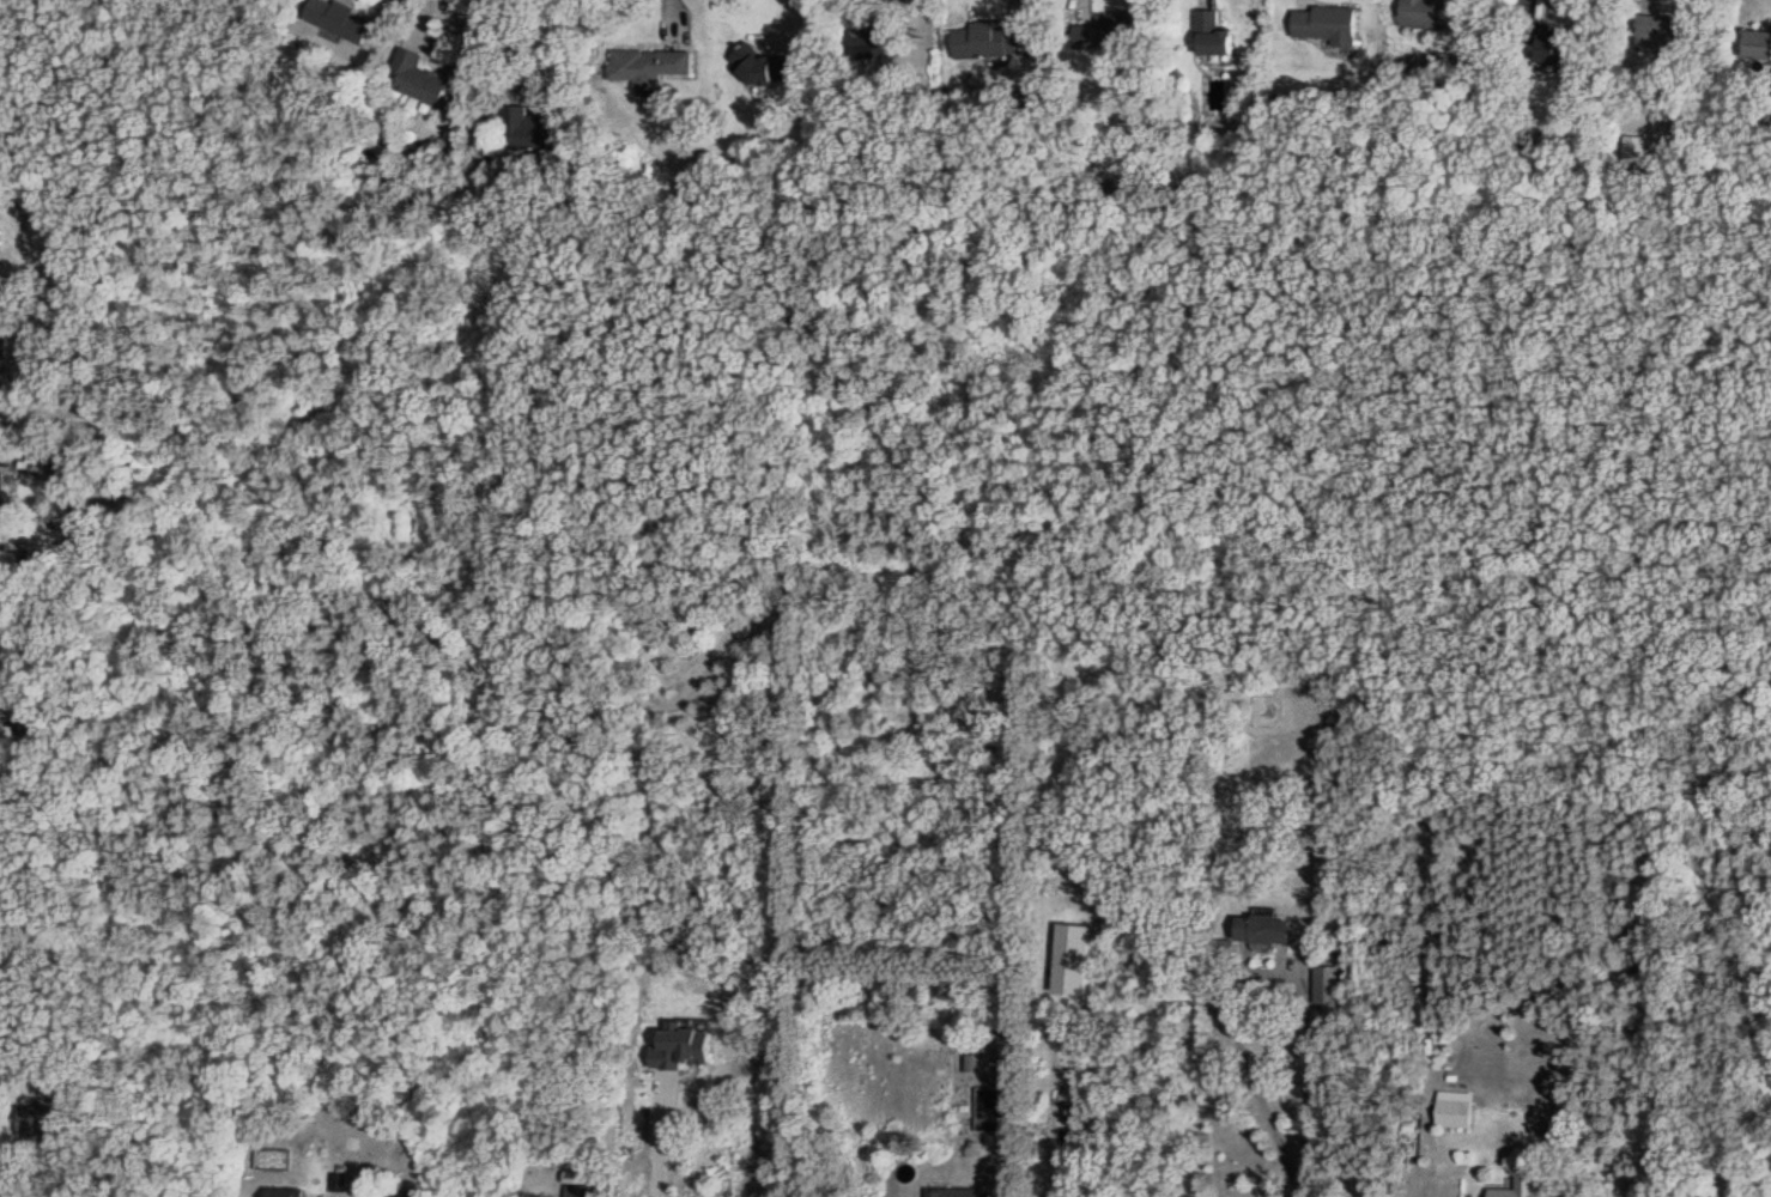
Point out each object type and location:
building: (1432, 14)
building: (341, 19)
building: (1326, 24)
building: (1109, 31)
building: (1215, 34)
building: (1660, 36)
building: (879, 40)
building: (994, 40)
building: (1755, 45)
building: (1549, 47)
building: (649, 66)
building: (762, 68)
building: (421, 79)
building: (530, 129)
building: (0, 236)
building: (2, 503)
building: (1261, 930)
road: (1266, 973)
building: (1326, 986)
building: (989, 1110)
building: (1451, 1116)
building: (46, 1123)
building: (1564, 1131)
road: (657, 1142)
road: (56, 1180)
building: (655, 1185)
building: (1518, 1189)
building: (284, 1191)
building: (407, 1192)
building: (959, 1193)
building: (621, 1196)
road: (1302, 1196)

